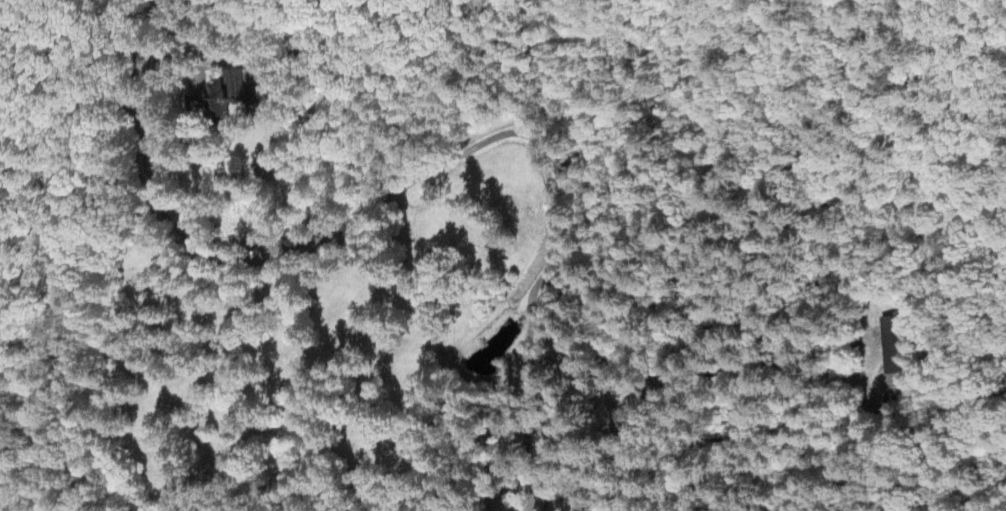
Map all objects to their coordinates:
building: (231, 101)
building: (894, 354)

